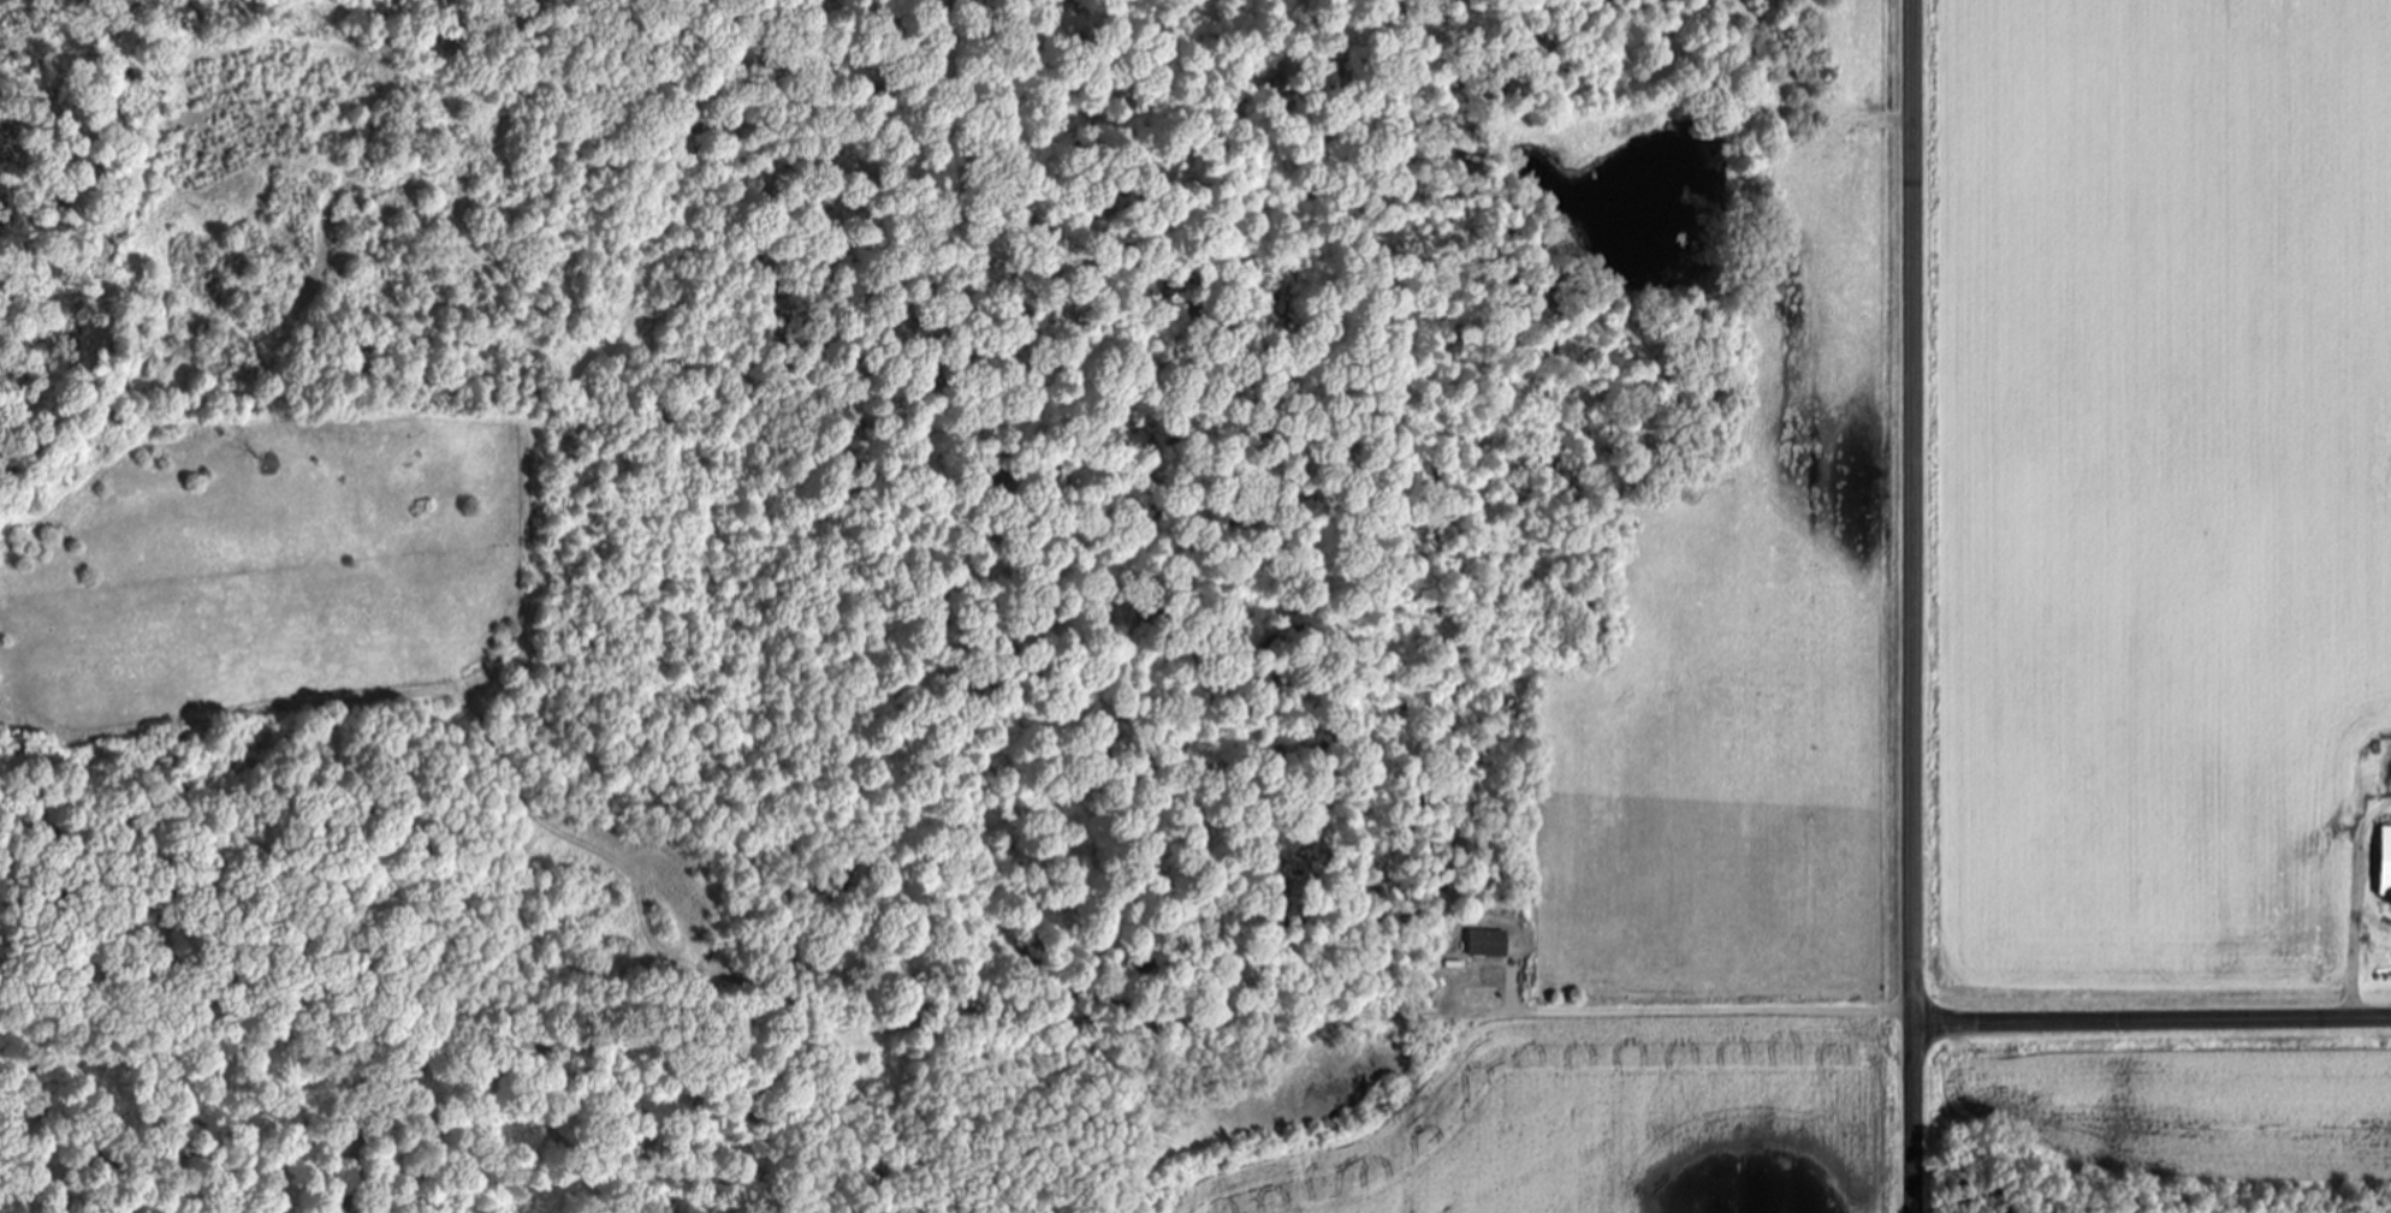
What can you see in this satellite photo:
road: (1910, 606)
building: (2386, 864)
road: (2354, 939)
building: (1489, 946)
road: (2150, 1018)

